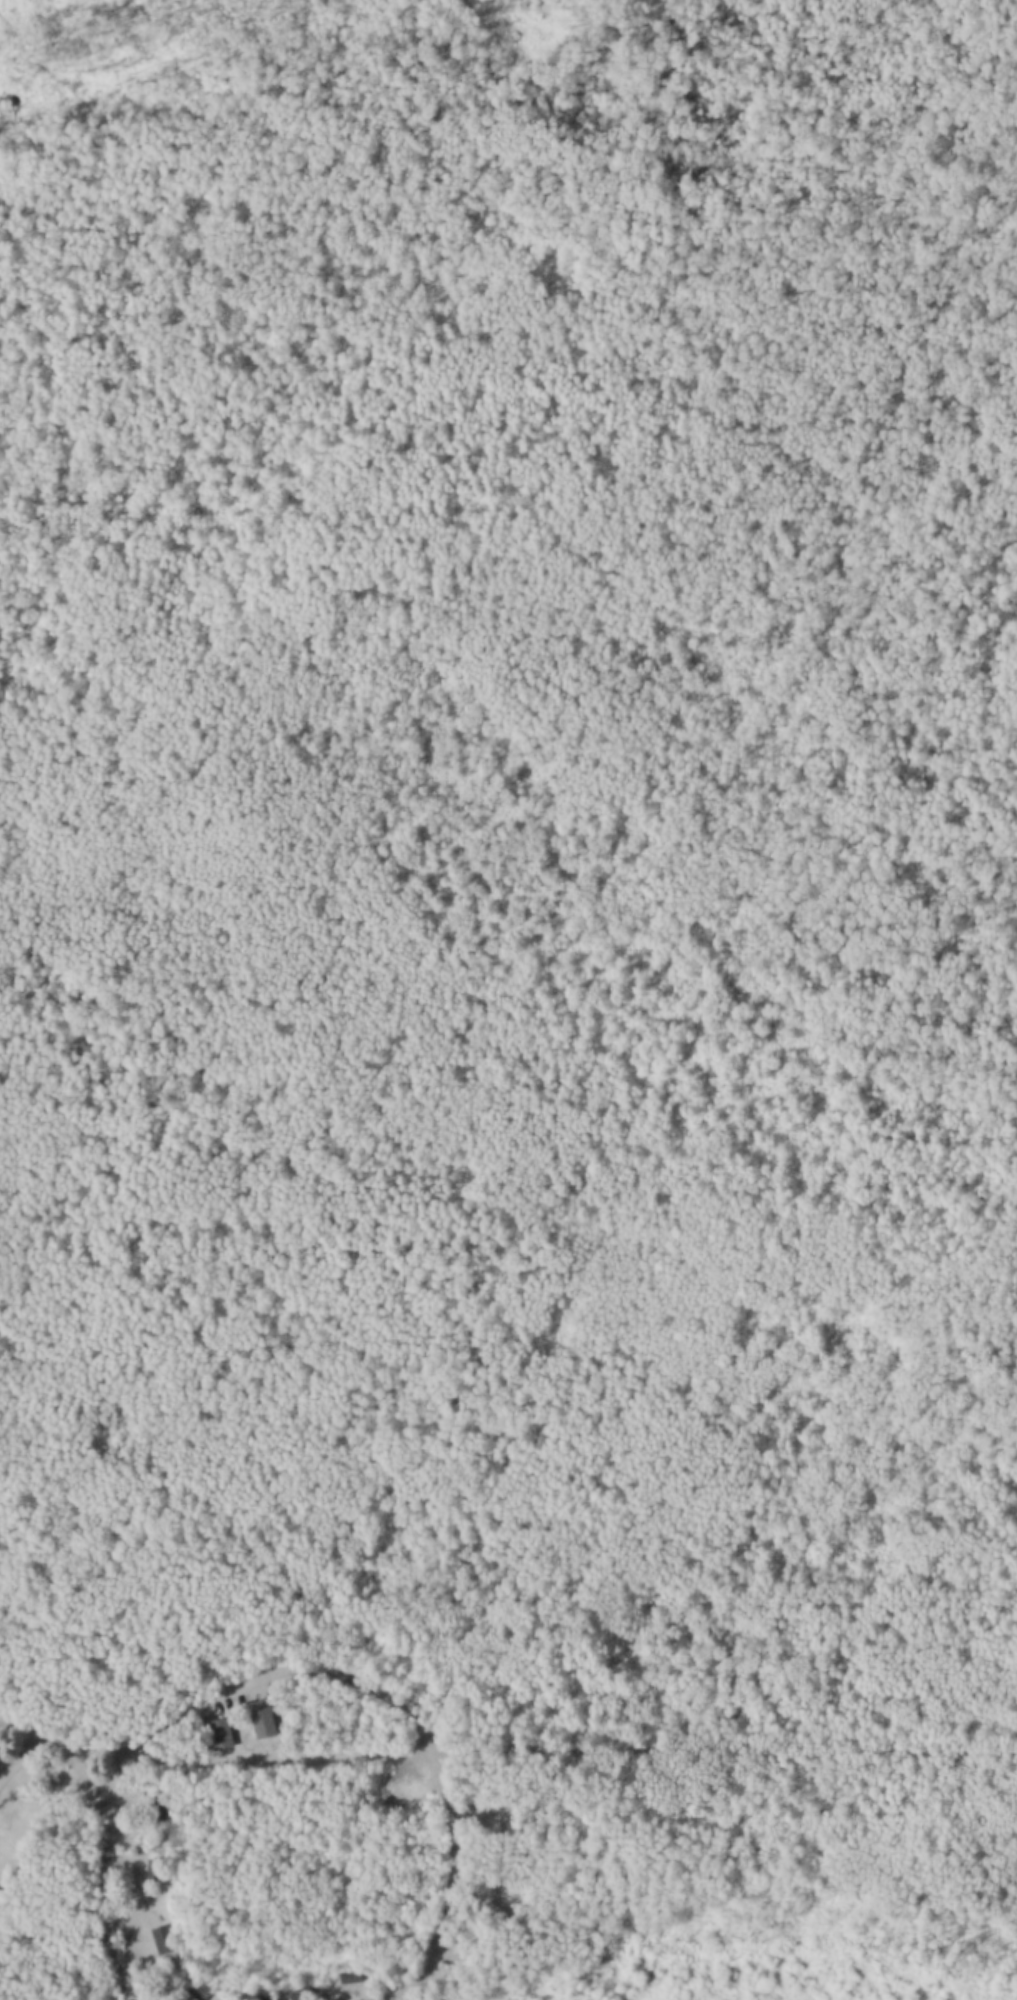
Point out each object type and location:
park: (508, 1000)
road: (388, 1691)
road: (18, 1721)
road: (53, 1738)
road: (19, 1754)
road: (110, 1866)

